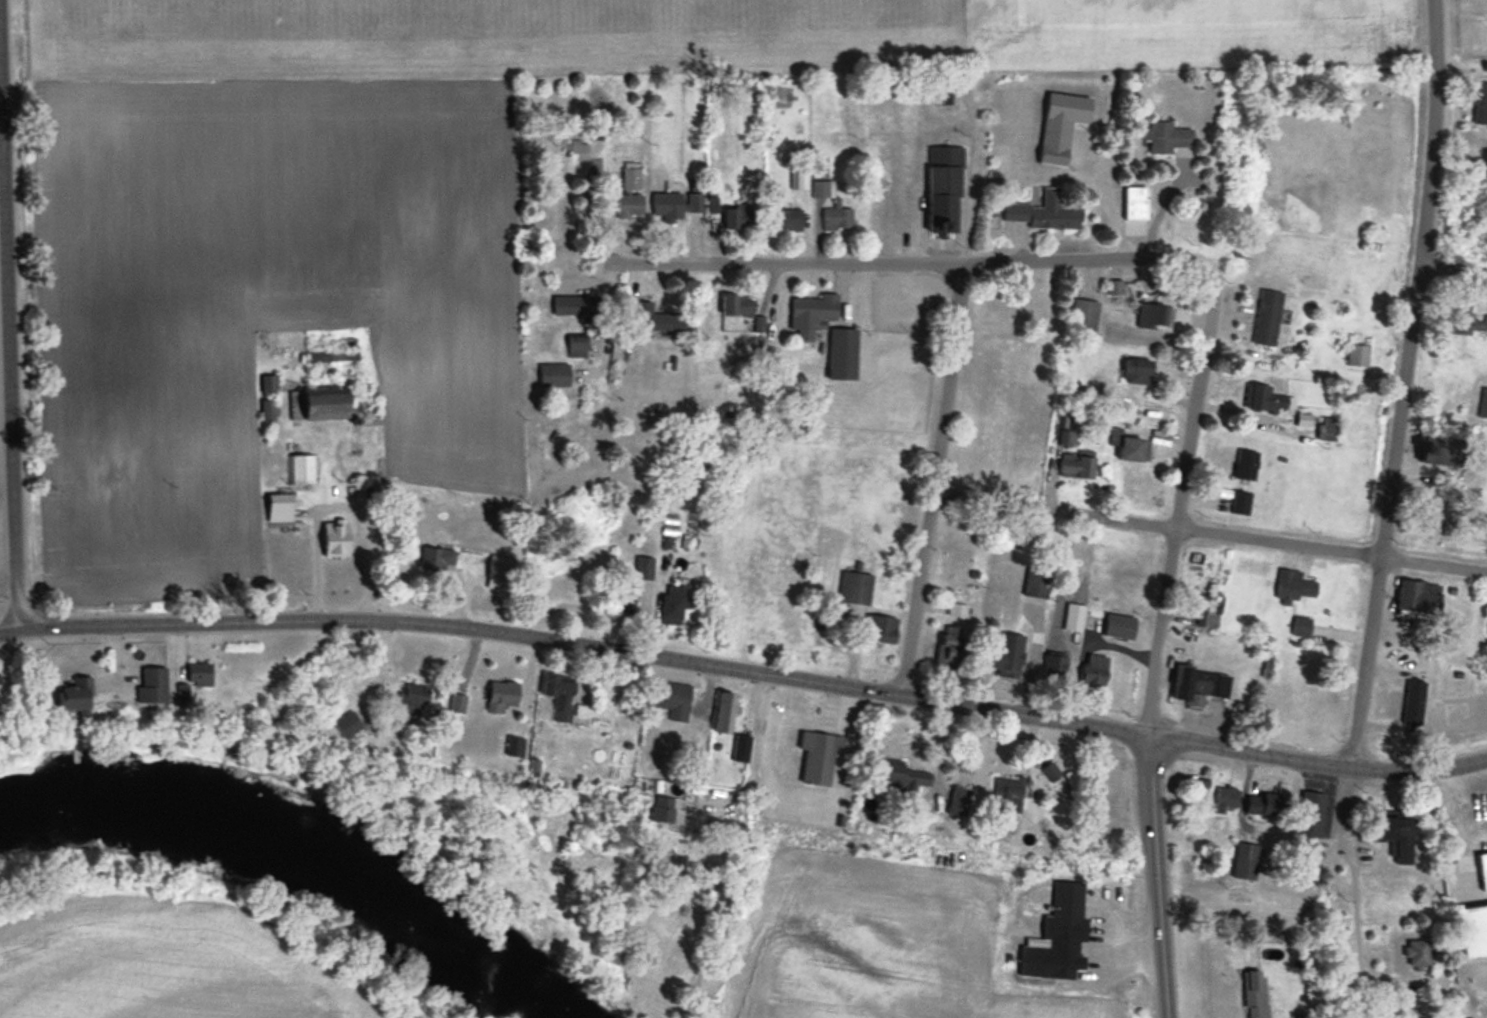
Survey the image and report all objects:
building: (1481, 102)
building: (1165, 135)
building: (1055, 140)
building: (577, 148)
building: (821, 188)
building: (944, 188)
building: (630, 192)
building: (1136, 202)
building: (676, 203)
road: (1164, 210)
building: (1045, 211)
building: (740, 215)
road: (1113, 216)
building: (838, 217)
building: (787, 218)
building: (1376, 242)
road: (889, 269)
road: (1453, 273)
building: (738, 303)
building: (573, 304)
building: (814, 310)
building: (1085, 313)
building: (1156, 315)
building: (1268, 315)
building: (651, 316)
road: (12, 319)
building: (1468, 321)
building: (578, 345)
building: (844, 352)
building: (1359, 354)
building: (1138, 370)
building: (554, 373)
road: (1404, 386)
building: (1267, 397)
building: (1483, 403)
building: (334, 405)
building: (1305, 421)
building: (1328, 427)
building: (1067, 429)
building: (1135, 448)
building: (1441, 451)
building: (1247, 463)
building: (1077, 464)
building: (303, 467)
road: (940, 485)
building: (1241, 501)
building: (280, 507)
road: (1179, 508)
building: (1452, 514)
road: (1159, 530)
building: (337, 536)
building: (437, 556)
road: (1434, 564)
road: (316, 565)
building: (645, 566)
building: (497, 576)
building: (1038, 579)
building: (1294, 585)
building: (856, 587)
building: (1419, 595)
building: (630, 601)
building: (676, 603)
building: (1208, 607)
building: (1301, 624)
building: (1120, 625)
building: (881, 627)
building: (953, 647)
road: (578, 648)
building: (1011, 652)
building: (200, 673)
road: (353, 674)
building: (1094, 676)
building: (1199, 683)
building: (153, 684)
building: (502, 694)
building: (560, 694)
building: (75, 696)
building: (672, 698)
building: (458, 701)
building: (414, 702)
building: (1414, 702)
building: (725, 711)
building: (348, 723)
building: (515, 744)
road: (755, 745)
building: (741, 746)
building: (817, 756)
road: (1319, 767)
building: (1051, 770)
building: (899, 779)
building: (1007, 793)
building: (1226, 797)
building: (959, 799)
building: (1264, 802)
building: (667, 808)
road: (1457, 814)
building: (1310, 819)
building: (1395, 835)
river: (296, 848)
building: (1246, 859)
building: (1483, 868)
road: (1161, 879)
road: (1355, 894)
building: (1059, 934)
building: (1418, 952)
building: (1256, 993)

